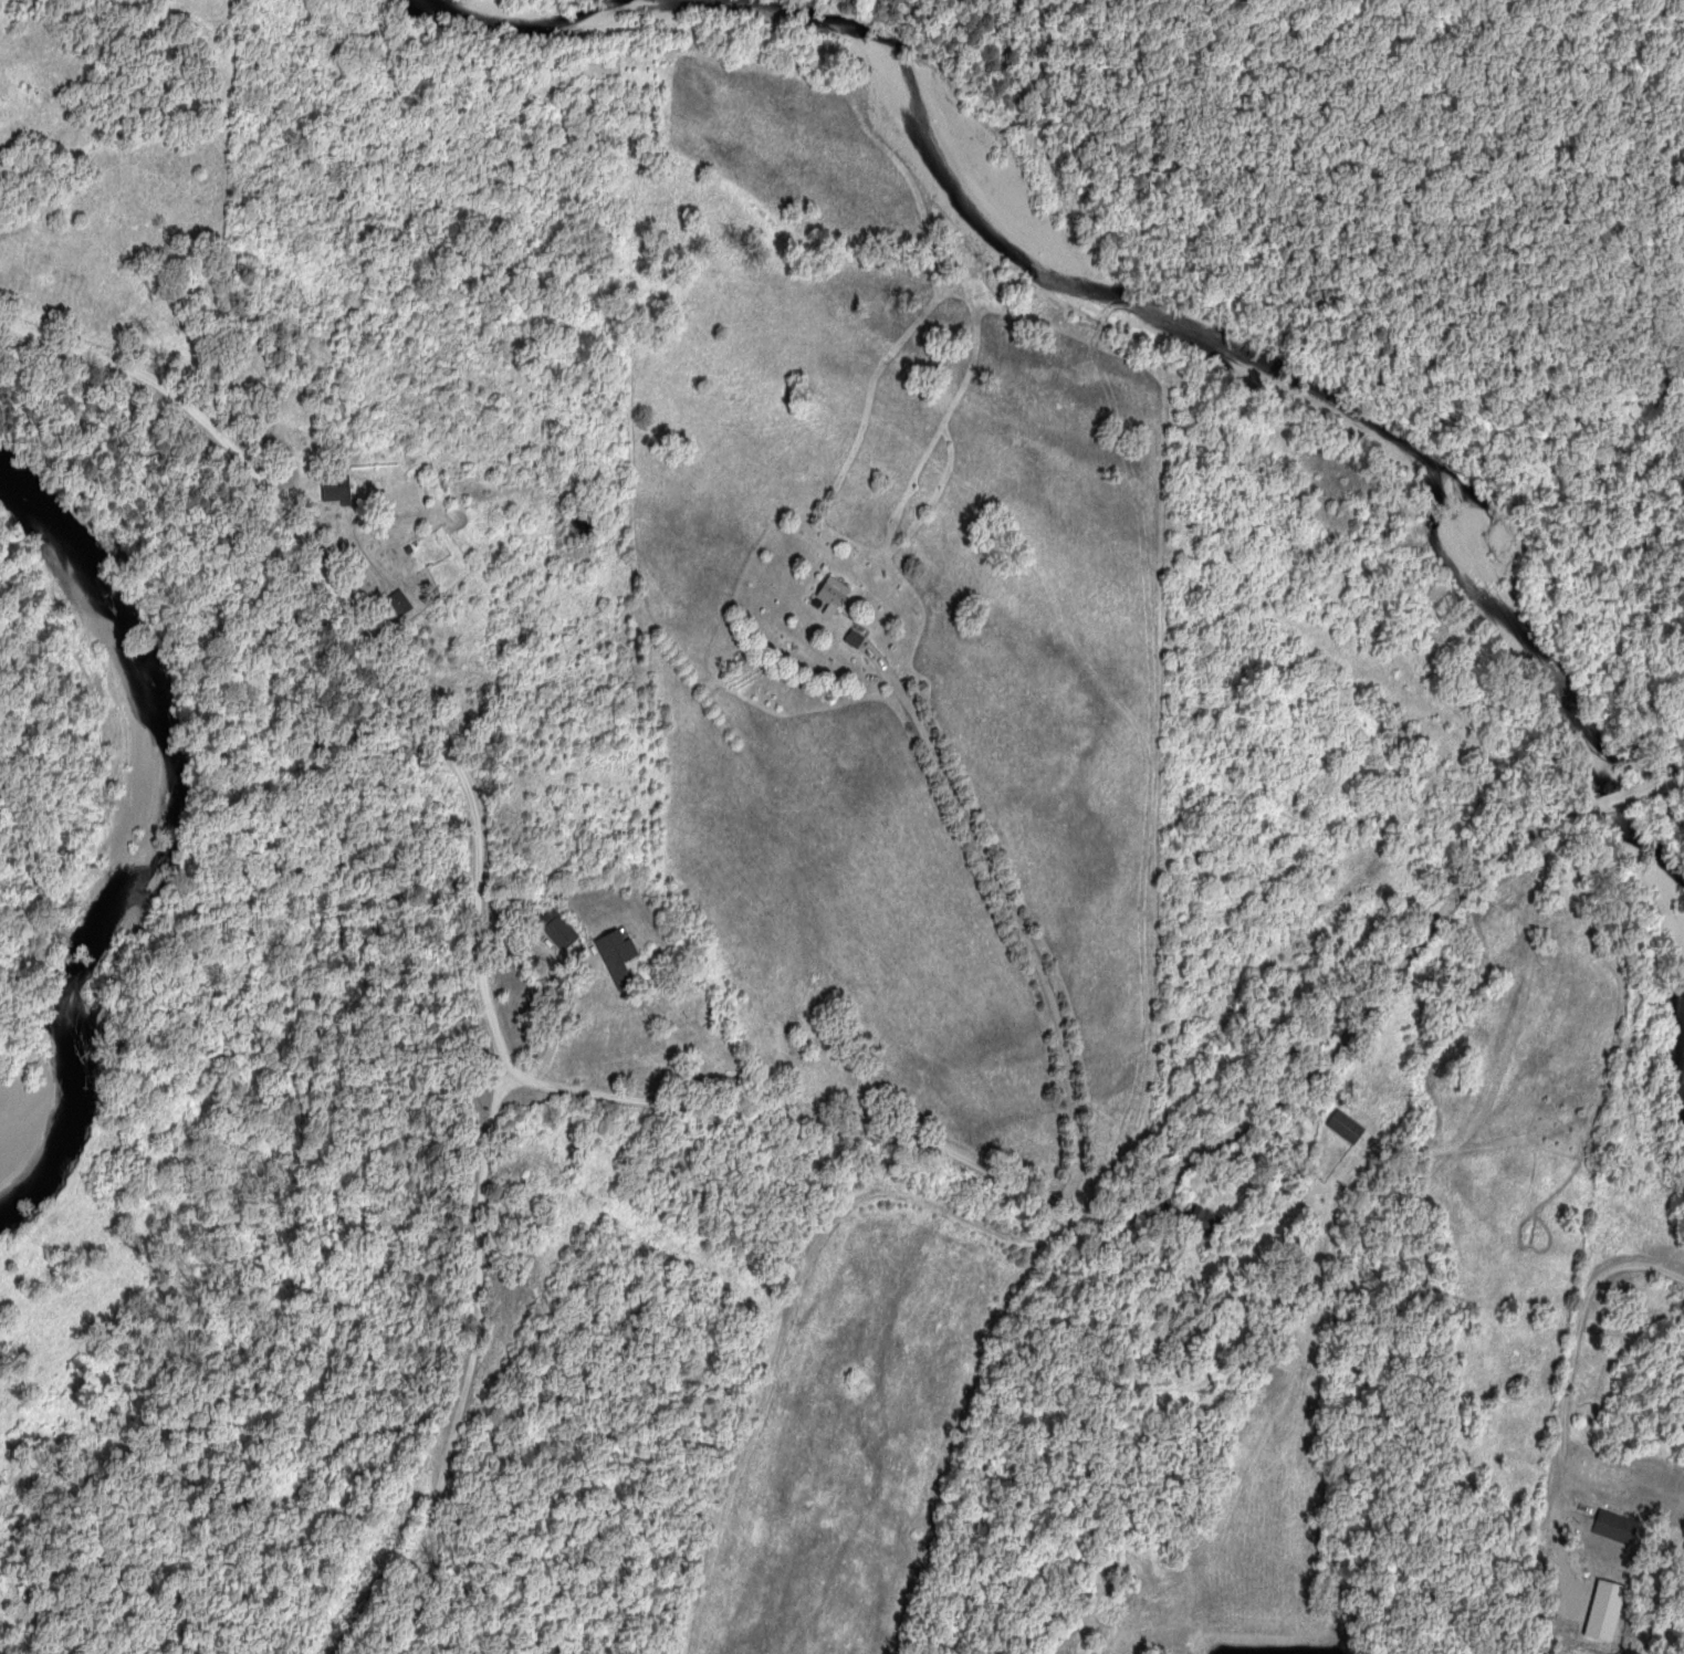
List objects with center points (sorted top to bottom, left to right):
road: (273, 408)
building: (835, 590)
road: (365, 618)
river: (169, 823)
road: (1018, 914)
building: (563, 930)
building: (1349, 1124)
road: (1153, 1205)
building: (1206, 1218)
road: (1294, 1266)
road: (1577, 1368)
road: (462, 1370)
building: (1620, 1525)
building: (1609, 1609)

